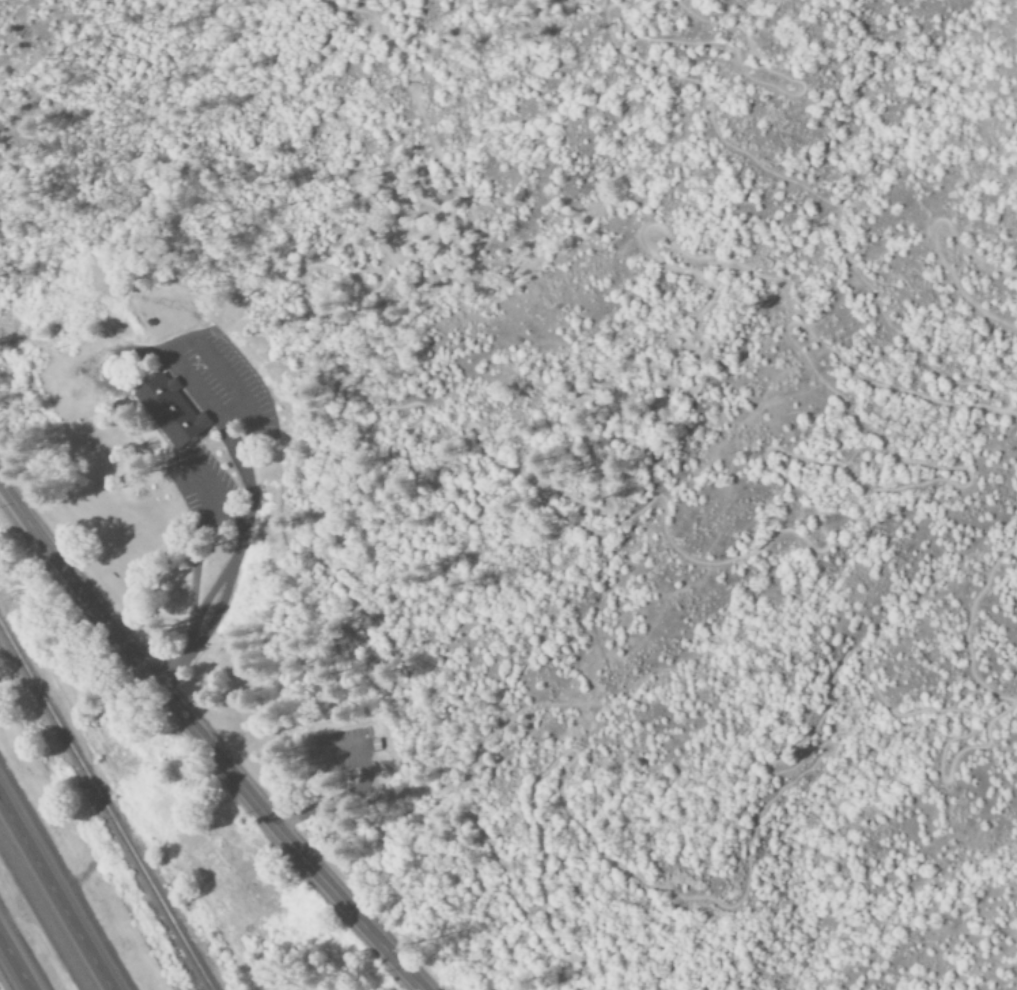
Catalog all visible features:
road: (689, 84)
road: (1015, 105)
road: (361, 199)
road: (936, 246)
road: (664, 347)
building: (165, 409)
road: (1012, 412)
road: (622, 515)
road: (231, 566)
road: (488, 739)
building: (370, 743)
road: (204, 744)
parking lot: (333, 750)
road: (355, 788)
railway: (103, 812)
road: (749, 853)
road: (55, 894)
road: (15, 963)

